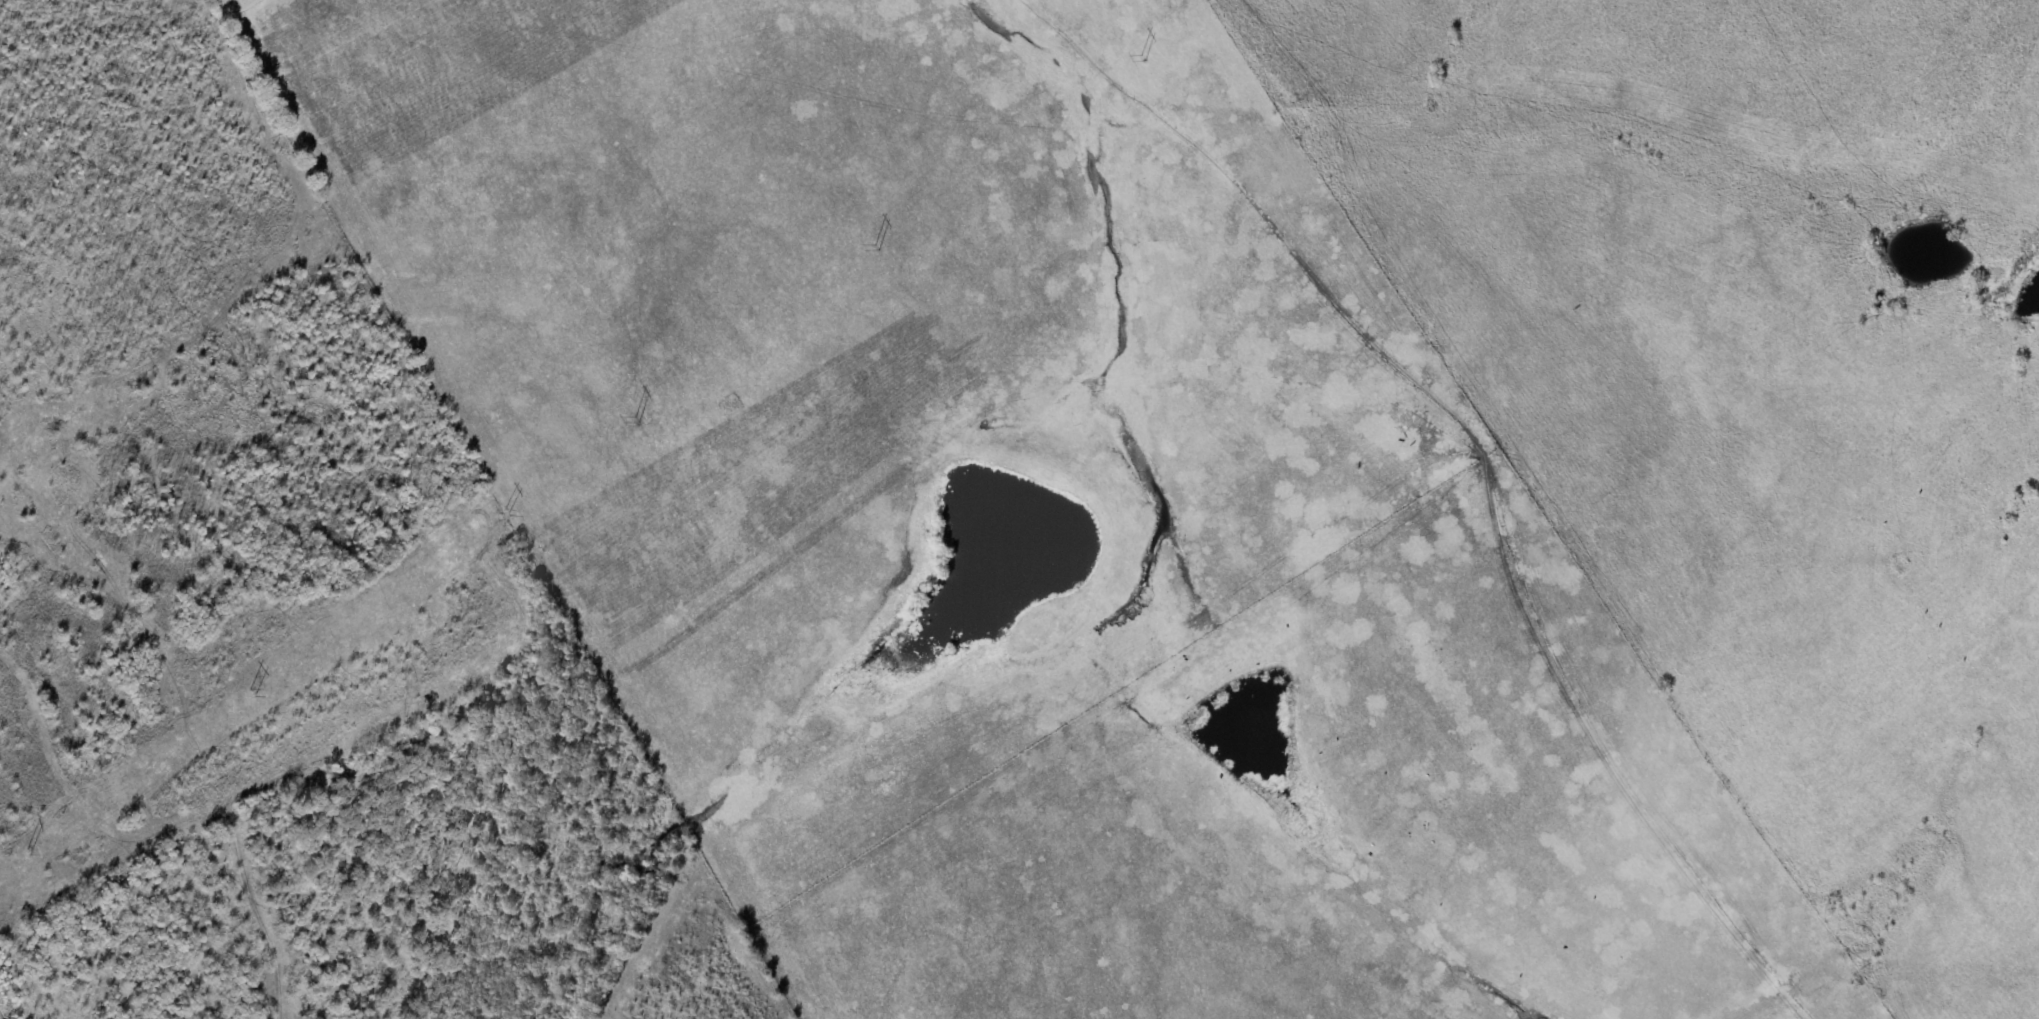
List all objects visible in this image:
power tower: (1143, 56)
power tower: (875, 249)
power tower: (638, 420)
power tower: (508, 512)
power tower: (252, 693)
power tower: (30, 851)

